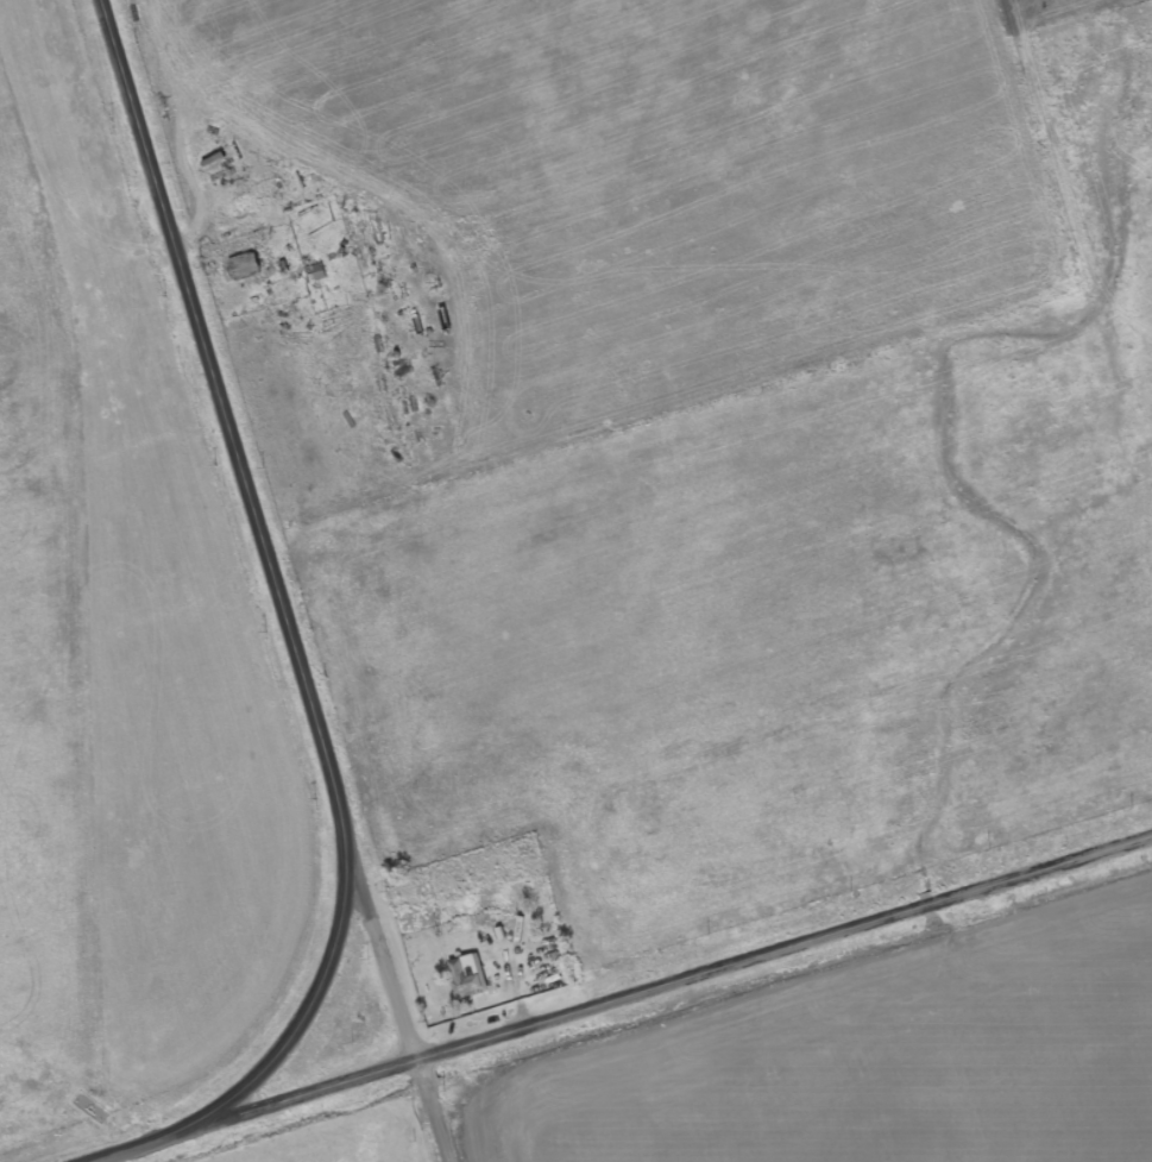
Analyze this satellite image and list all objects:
building: (244, 270)
road: (297, 634)
building: (499, 930)
road: (399, 976)
building: (467, 979)
road: (663, 990)

